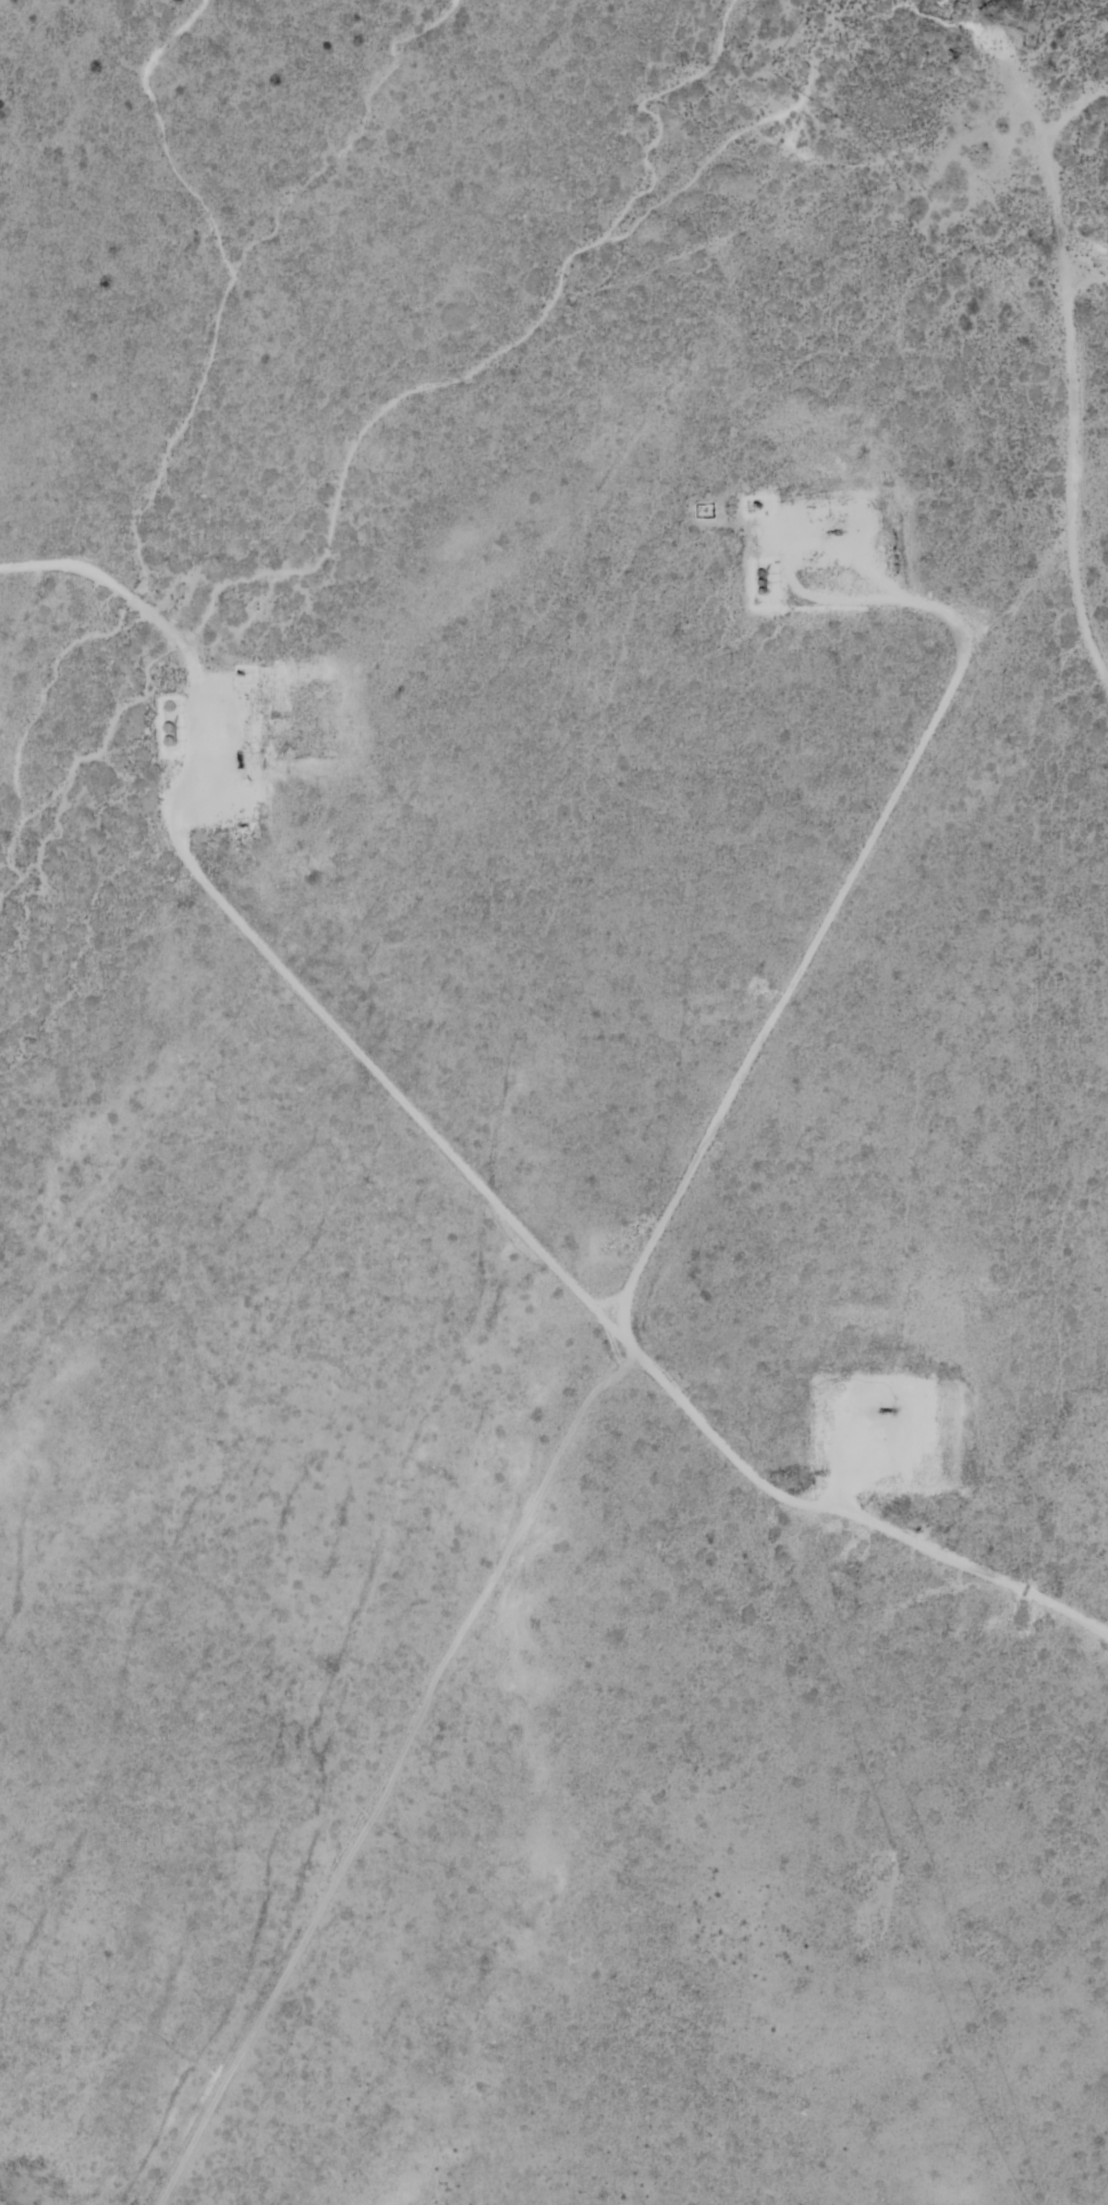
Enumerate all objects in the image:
road: (1073, 362)

